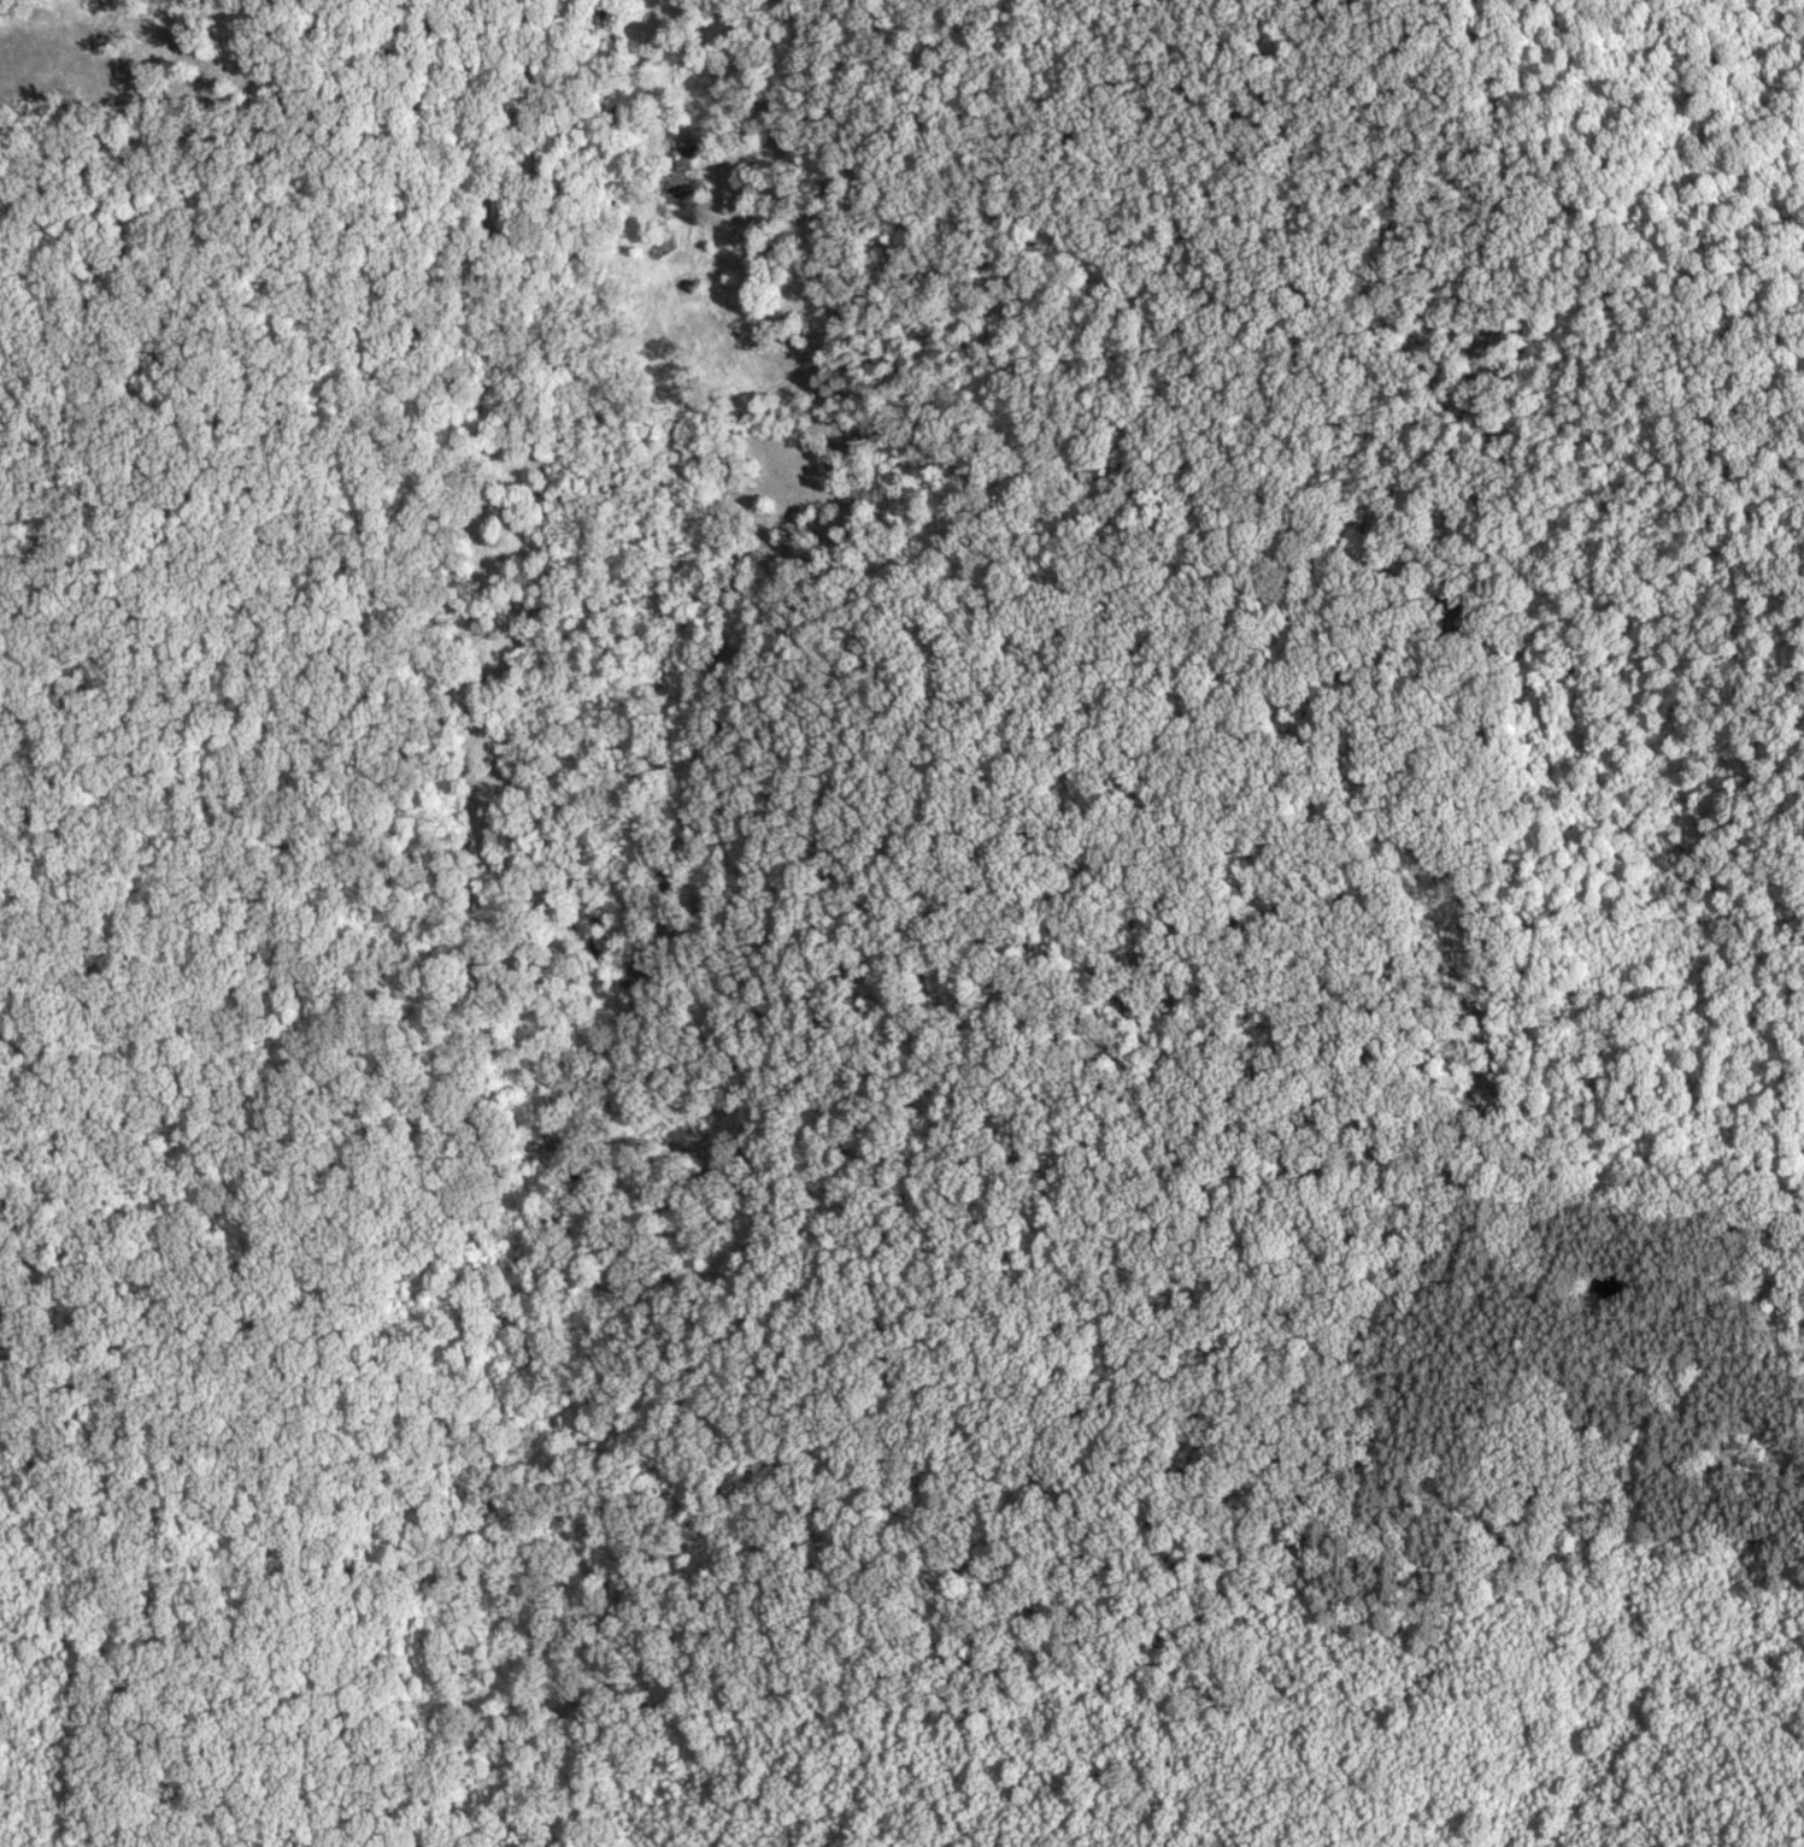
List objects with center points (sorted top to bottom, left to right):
road: (1615, 304)

